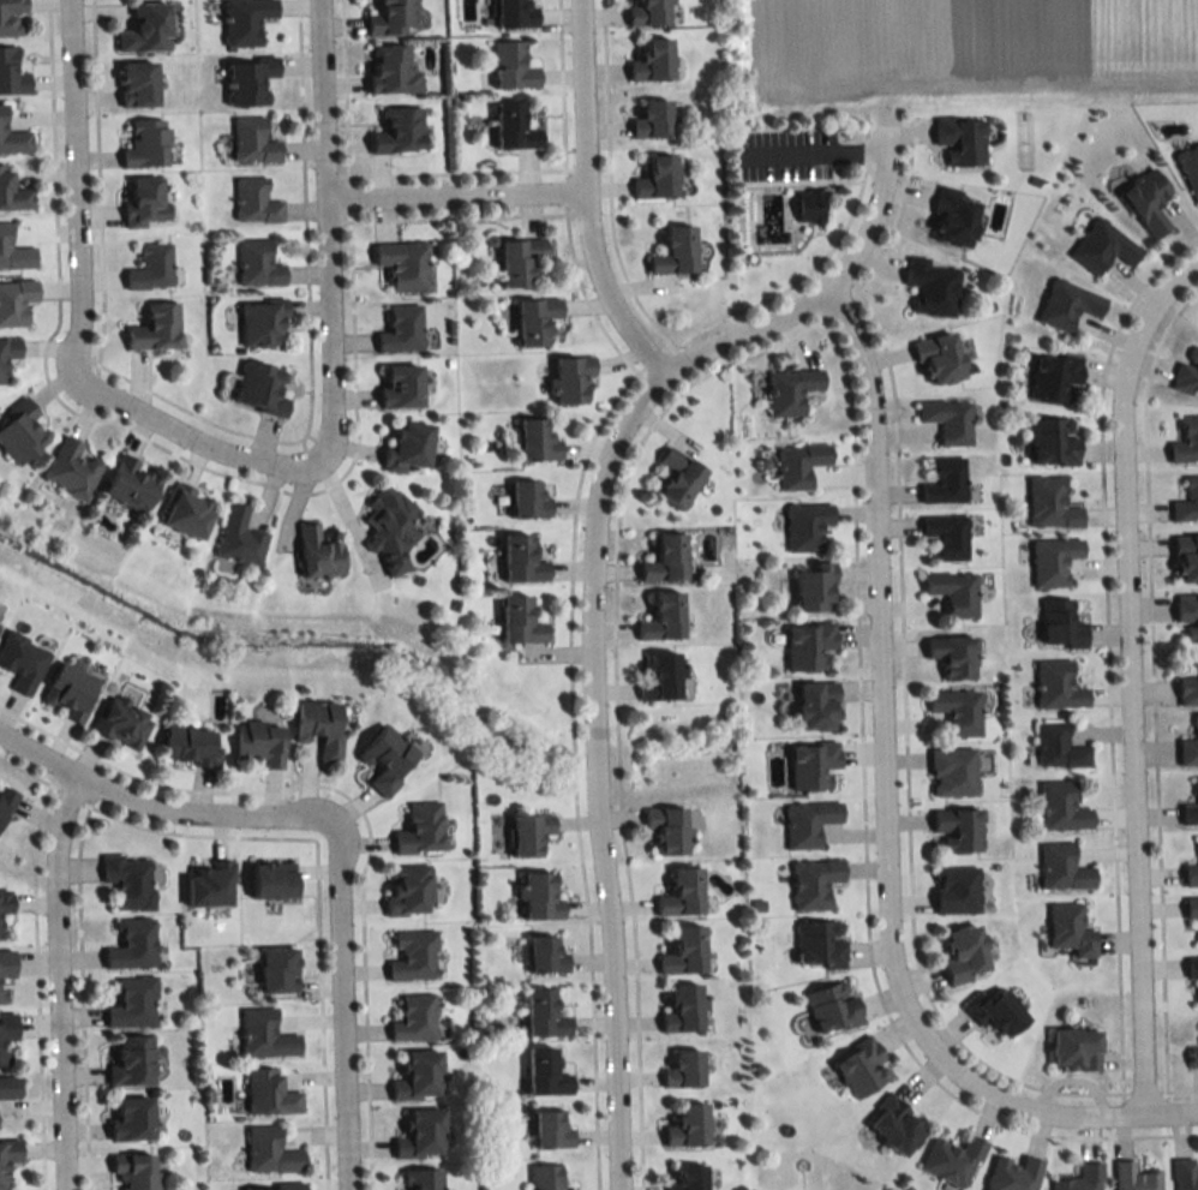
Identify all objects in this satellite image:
building: (649, 13)
building: (515, 14)
building: (12, 18)
building: (394, 18)
building: (246, 22)
building: (146, 29)
crop: (970, 44)
building: (653, 62)
building: (513, 67)
building: (394, 70)
building: (11, 74)
building: (250, 82)
building: (138, 85)
building: (652, 121)
building: (514, 128)
building: (399, 132)
building: (12, 138)
building: (962, 138)
building: (253, 143)
building: (146, 144)
building: (1190, 168)
building: (657, 179)
road: (451, 190)
road: (76, 192)
building: (13, 195)
road: (582, 196)
building: (1148, 199)
building: (145, 202)
building: (256, 202)
building: (809, 205)
road: (877, 215)
building: (954, 216)
road: (325, 246)
building: (1103, 246)
building: (13, 251)
building: (675, 252)
building: (520, 261)
building: (257, 264)
building: (403, 264)
road: (1192, 264)
building: (150, 267)
building: (933, 287)
building: (14, 301)
building: (1067, 304)
building: (535, 319)
building: (262, 324)
building: (155, 327)
building: (401, 329)
building: (7, 353)
building: (940, 357)
building: (1187, 371)
building: (571, 377)
building: (1055, 377)
building: (401, 384)
building: (260, 387)
building: (791, 389)
building: (947, 419)
road: (185, 429)
building: (20, 431)
building: (535, 439)
building: (1053, 439)
building: (1186, 441)
building: (407, 445)
building: (798, 464)
building: (70, 468)
building: (678, 476)
building: (945, 480)
building: (131, 484)
building: (529, 500)
building: (1186, 502)
building: (1050, 503)
building: (186, 510)
building: (805, 525)
building: (390, 527)
building: (947, 536)
building: (238, 537)
building: (318, 554)
building: (665, 558)
building: (1186, 558)
building: (522, 560)
building: (1053, 561)
building: (814, 586)
building: (953, 592)
building: (1187, 615)
building: (663, 617)
building: (520, 621)
building: (1060, 624)
building: (809, 645)
building: (953, 656)
building: (22, 660)
road: (592, 677)
building: (661, 677)
road: (1127, 677)
building: (1187, 680)
road: (879, 681)
building: (1058, 687)
building: (68, 692)
building: (817, 706)
building: (957, 711)
building: (121, 722)
building: (319, 726)
building: (258, 742)
building: (191, 746)
building: (1059, 748)
building: (1187, 752)
building: (385, 759)
building: (813, 765)
building: (952, 772)
building: (5, 802)
building: (1061, 807)
road: (156, 809)
building: (1190, 809)
building: (808, 823)
building: (420, 829)
building: (667, 829)
building: (958, 829)
building: (529, 833)
building: (1197, 837)
building: (1062, 868)
building: (1191, 873)
building: (128, 880)
building: (271, 880)
building: (814, 883)
building: (208, 885)
building: (408, 889)
building: (957, 890)
building: (682, 892)
building: (539, 897)
building: (5, 902)
building: (1191, 907)
building: (1070, 929)
building: (0, 932)
building: (820, 944)
building: (132, 945)
building: (684, 951)
building: (964, 953)
building: (413, 955)
building: (545, 955)
building: (1192, 968)
building: (5, 969)
building: (277, 970)
road: (56, 980)
road: (345, 1003)
building: (132, 1004)
building: (833, 1007)
building: (683, 1009)
building: (996, 1012)
building: (543, 1015)
building: (414, 1018)
building: (6, 1034)
building: (264, 1035)
building: (1076, 1048)
building: (1193, 1057)
building: (131, 1062)
building: (862, 1068)
building: (684, 1070)
building: (545, 1072)
building: (418, 1076)
building: (8, 1087)
building: (269, 1093)
road: (1067, 1111)
building: (131, 1119)
building: (897, 1124)
building: (688, 1125)
building: (551, 1130)
building: (420, 1135)
building: (270, 1152)
building: (7, 1159)
building: (953, 1160)
building: (134, 1170)
building: (1014, 1173)
building: (1184, 1174)
building: (545, 1177)
building: (688, 1177)
building: (1134, 1177)
building: (421, 1179)
building: (1080, 1179)
building: (275, 1185)

